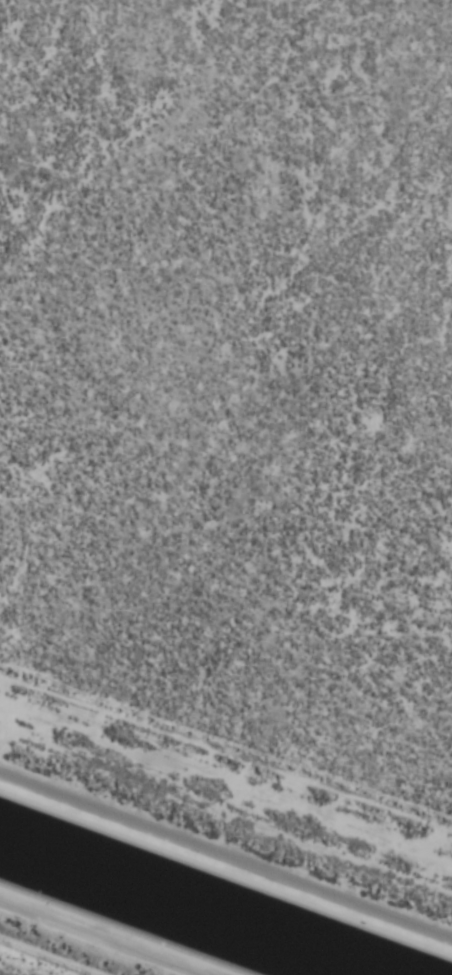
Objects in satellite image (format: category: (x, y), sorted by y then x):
crop: (234, 385)
road: (226, 860)
road: (23, 966)

